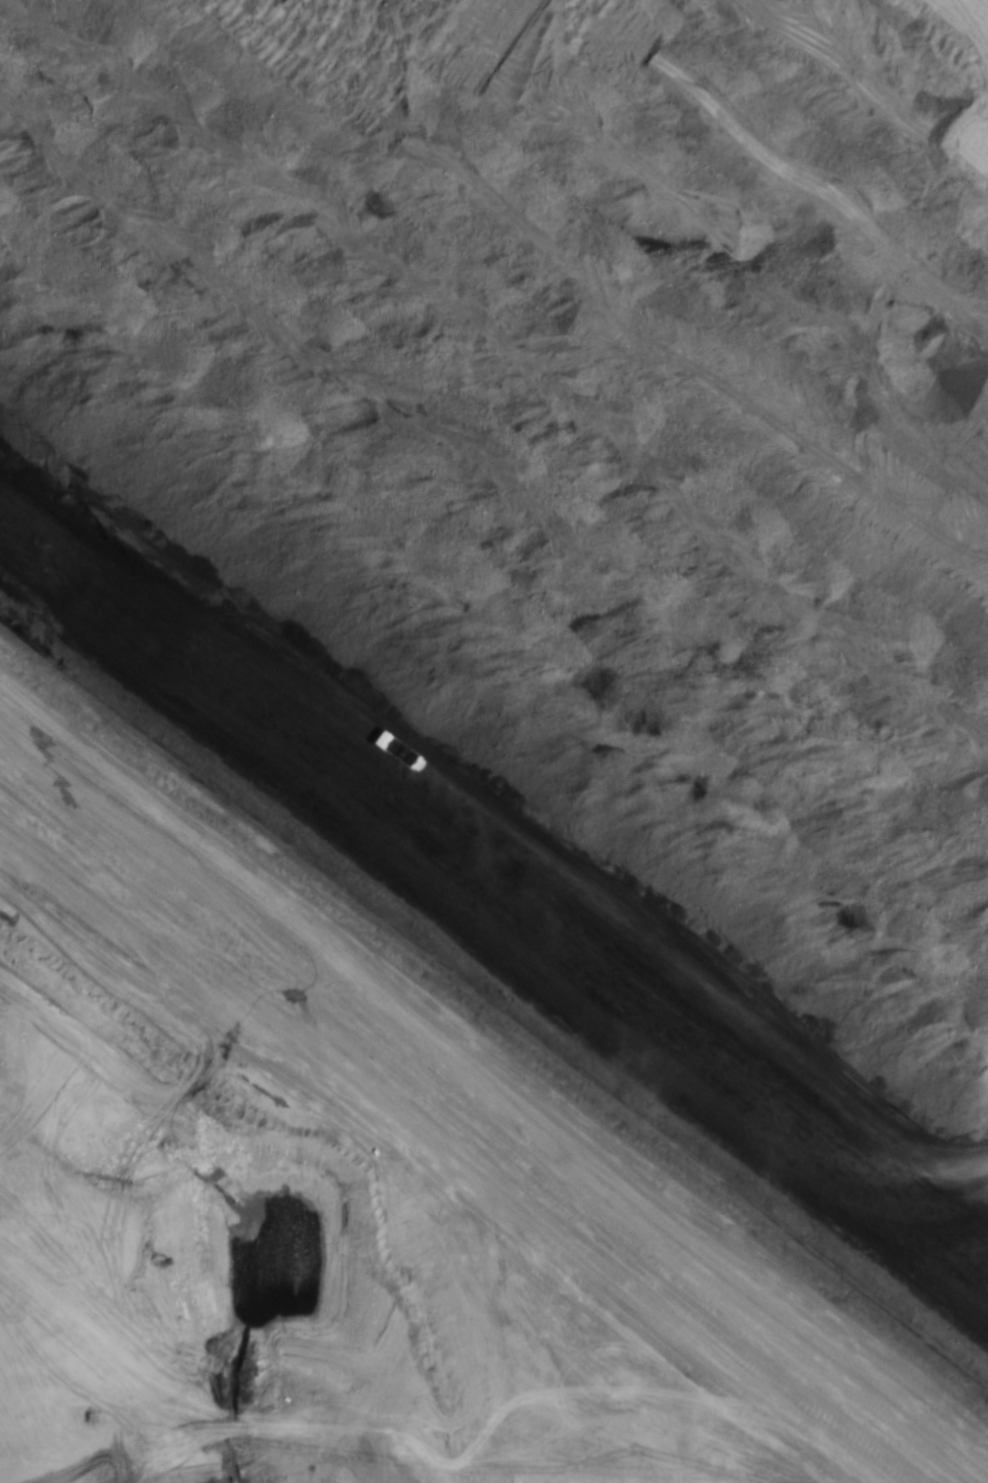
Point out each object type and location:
road: (905, 745)

